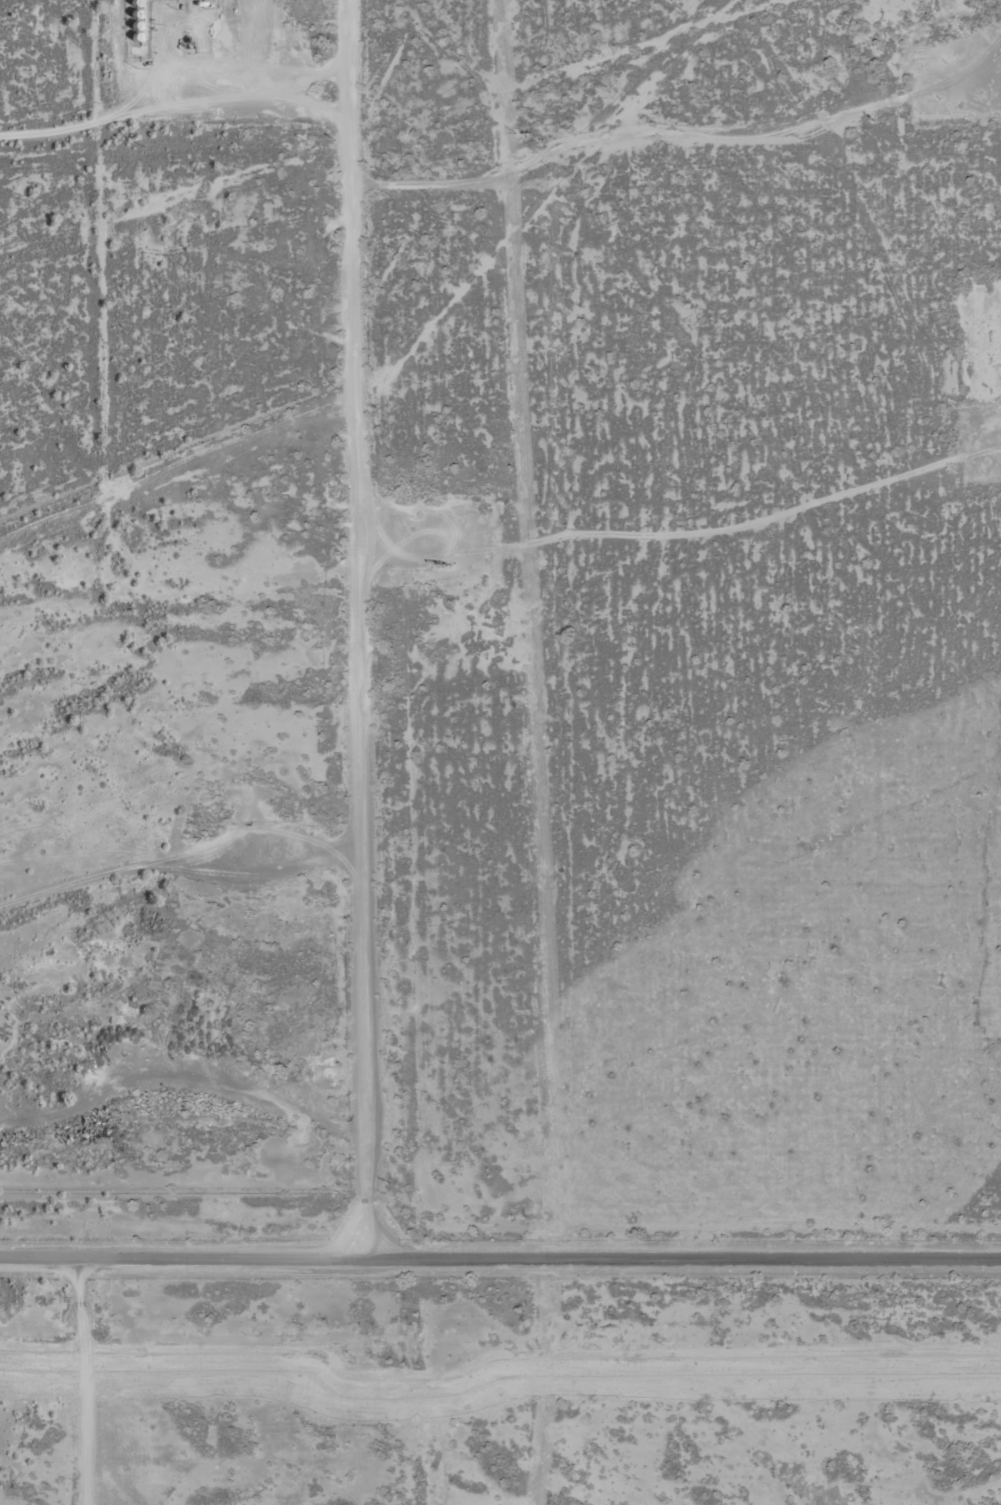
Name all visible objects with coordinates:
road: (361, 616)
road: (500, 1232)
road: (84, 1371)

